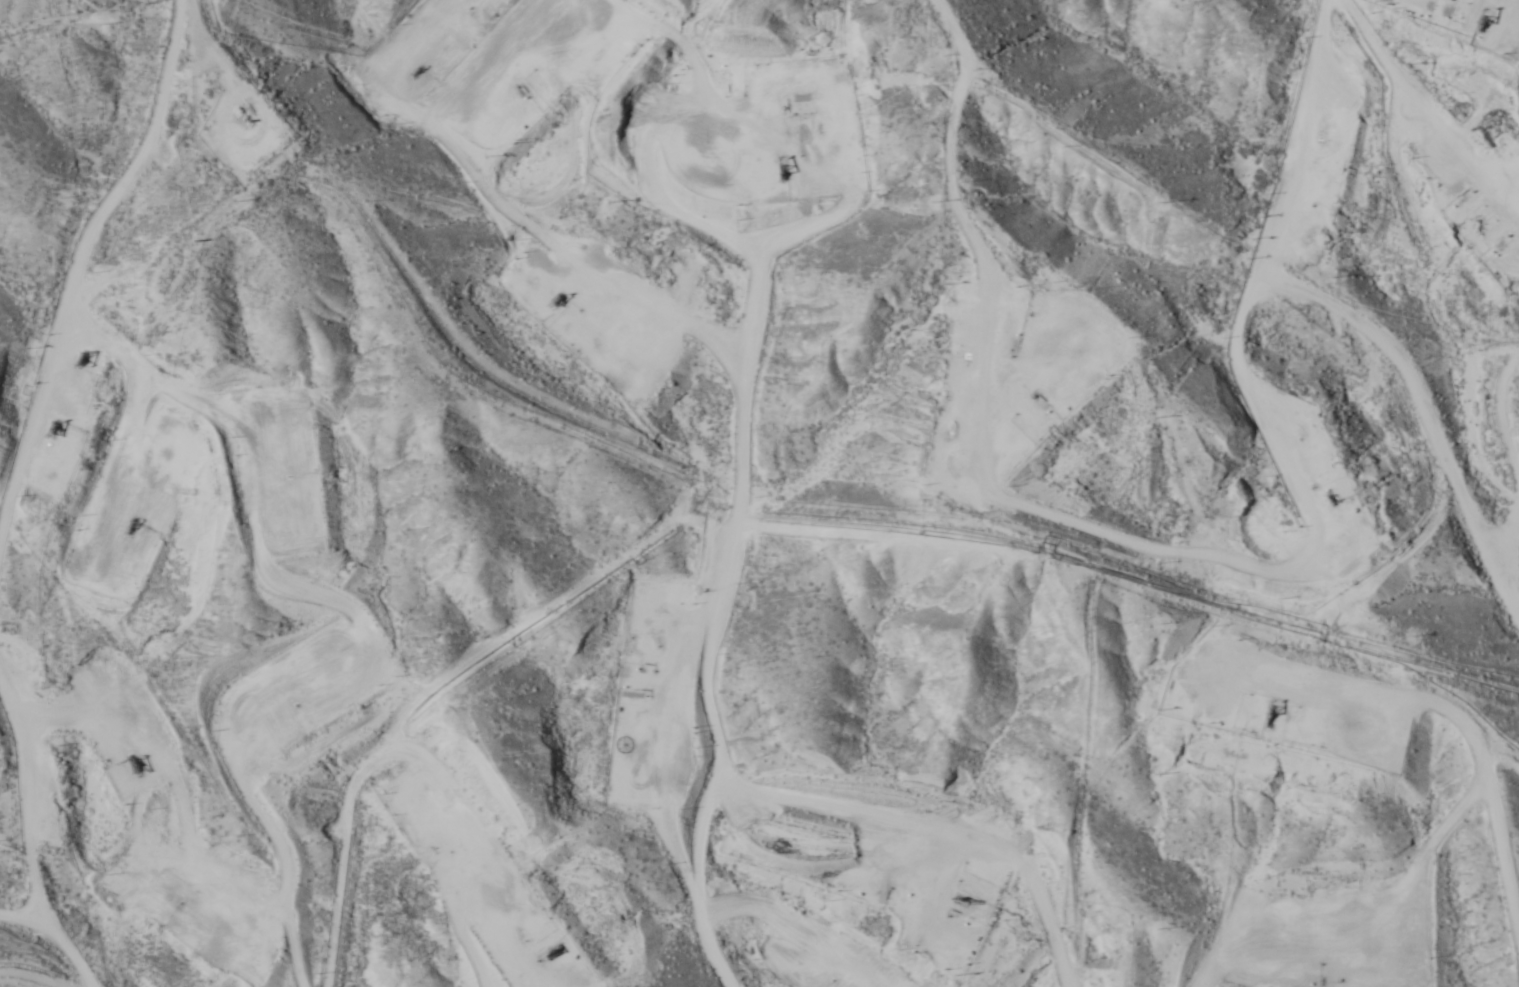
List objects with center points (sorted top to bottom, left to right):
road: (88, 284)
road: (1252, 551)
road: (19, 846)

